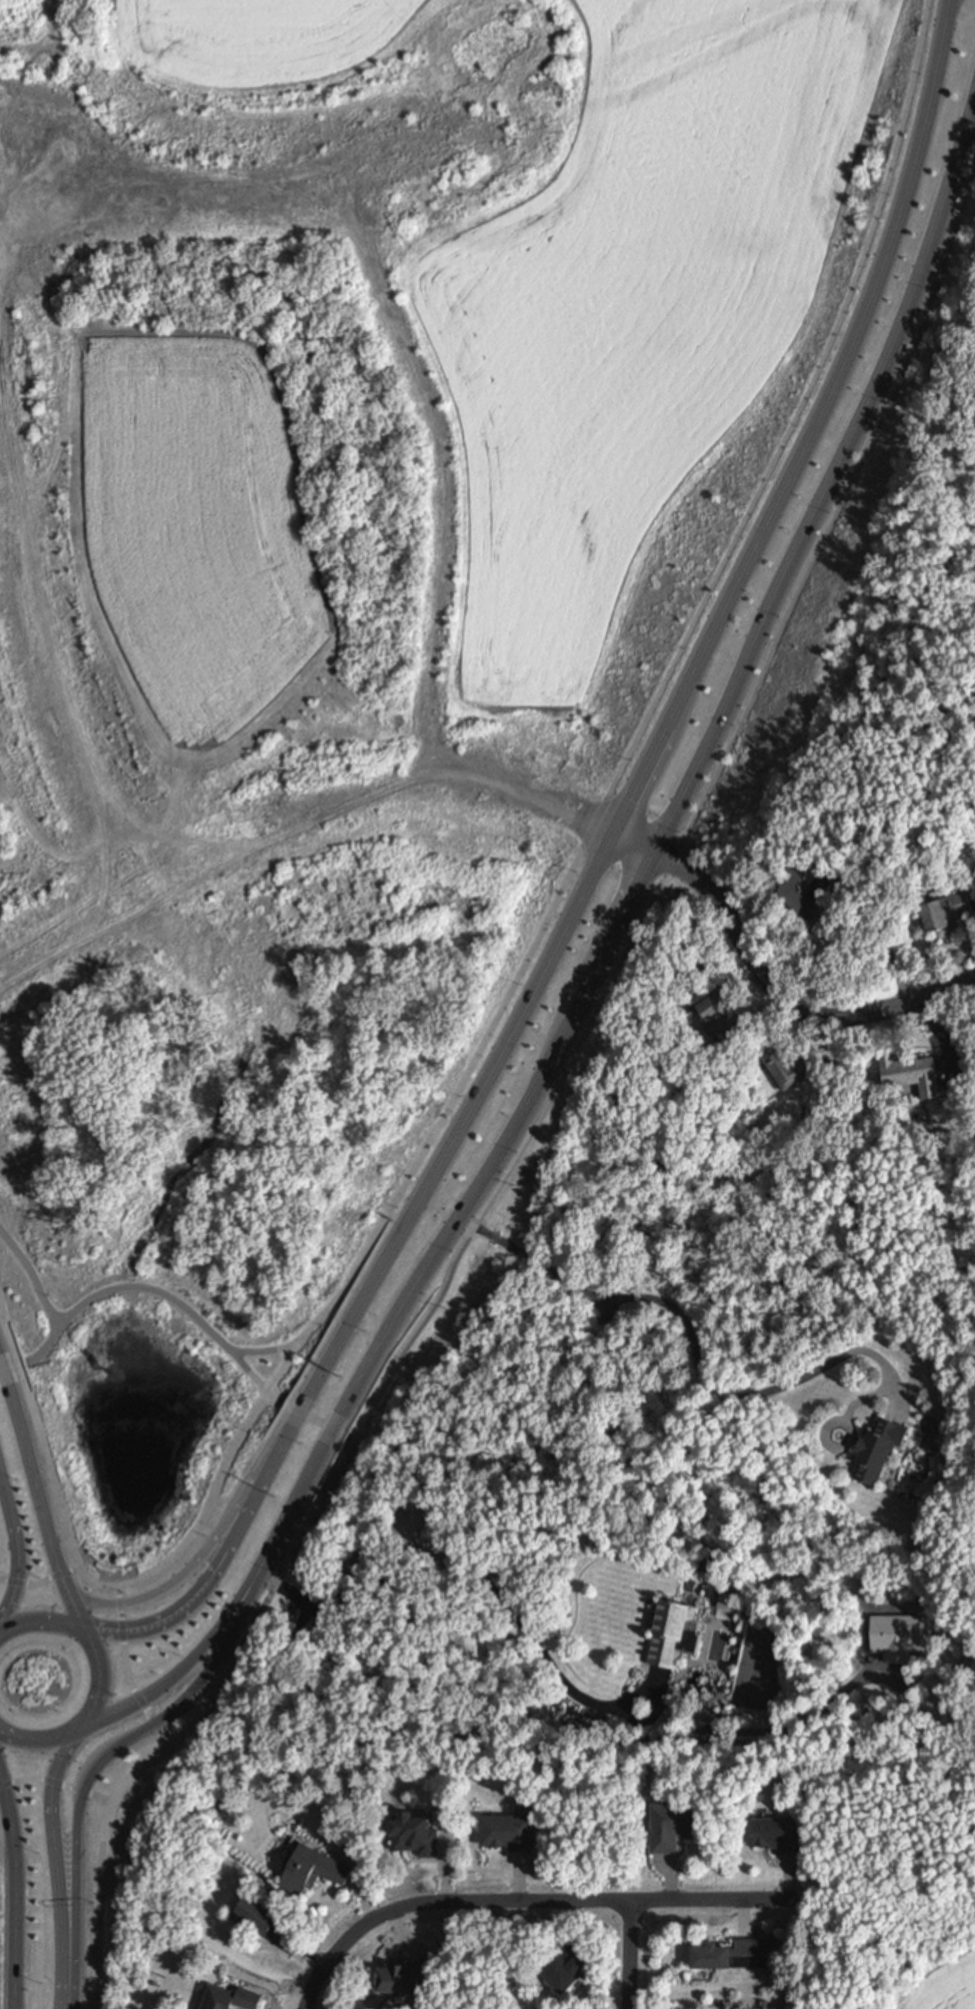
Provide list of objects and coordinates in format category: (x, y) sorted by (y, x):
road: (898, 324)
crop: (363, 548)
road: (692, 620)
road: (722, 703)
road: (645, 766)
road: (622, 833)
building: (807, 883)
building: (945, 907)
road: (870, 910)
road: (592, 972)
road: (786, 993)
building: (716, 1009)
road: (577, 1043)
building: (787, 1064)
building: (912, 1071)
road: (443, 1267)
road: (32, 1275)
road: (162, 1293)
road: (385, 1333)
road: (698, 1350)
road: (264, 1351)
road: (865, 1400)
park: (160, 1406)
road: (20, 1415)
road: (835, 1422)
road: (350, 1442)
building: (879, 1451)
road: (48, 1481)
road: (231, 1500)
road: (185, 1548)
road: (21, 1554)
road: (55, 1555)
road: (42, 1583)
road: (172, 1586)
road: (475, 1590)
road: (194, 1600)
building: (727, 1602)
road: (260, 1617)
road: (219, 1628)
building: (676, 1635)
road: (128, 1672)
road: (101, 1680)
road: (132, 1703)
road: (111, 1748)
road: (0, 1775)
road: (57, 1784)
road: (9, 1823)
building: (673, 1826)
building: (511, 1832)
building: (779, 1834)
building: (415, 1836)
road: (446, 1862)
road: (57, 1866)
road: (7, 1869)
building: (314, 1870)
road: (671, 1876)
road: (790, 1876)
road: (519, 1877)
road: (364, 1878)
crop: (1, 1899)
road: (525, 1900)
building: (258, 1915)
road: (743, 1917)
road: (548, 1922)
road: (86, 1928)
road: (404, 1934)
road: (13, 1944)
road: (299, 1951)
building: (727, 1953)
road: (629, 1954)
building: (565, 1967)
building: (407, 1975)
crop: (941, 1985)
building: (232, 1999)

